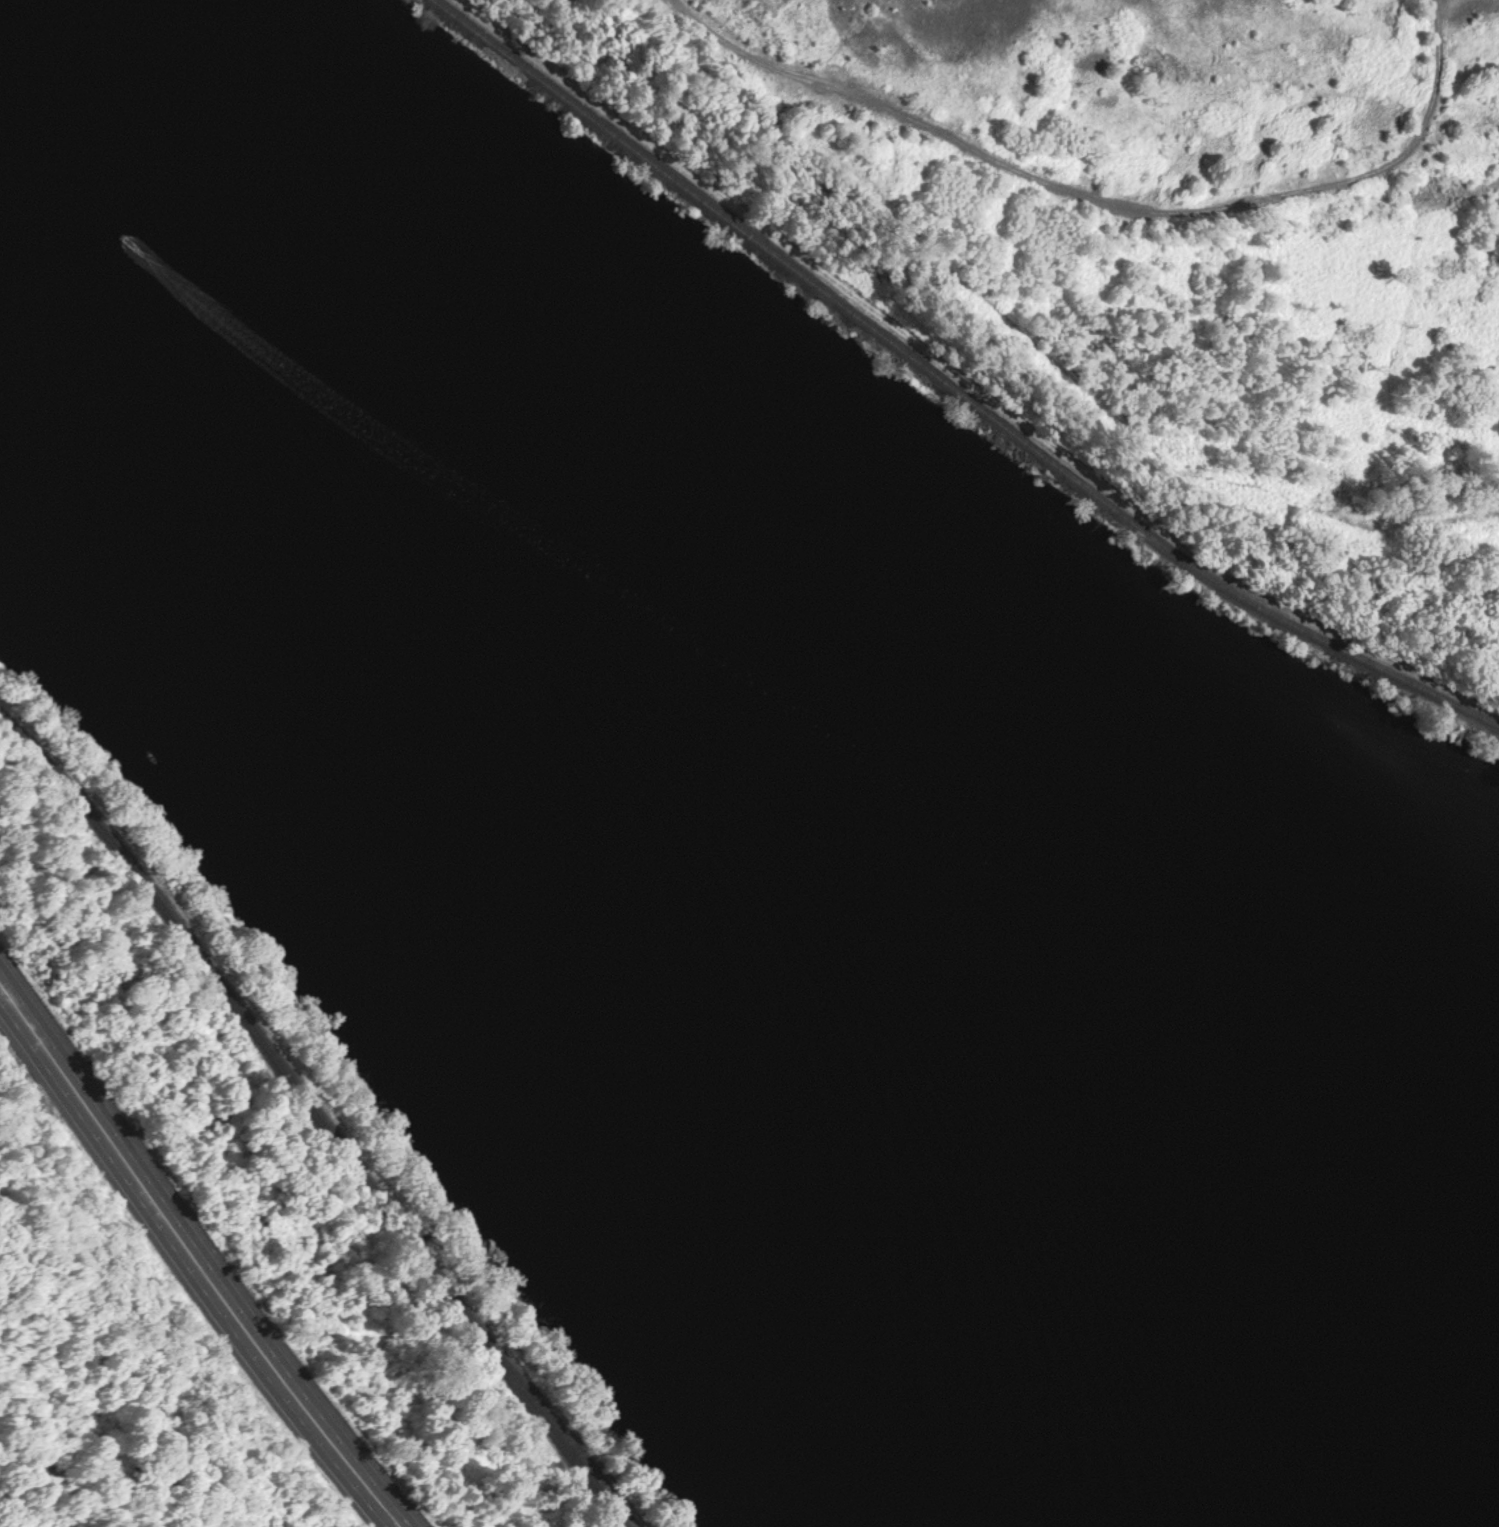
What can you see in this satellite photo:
road: (1107, 197)
road: (1071, 371)
railway: (951, 386)
river: (627, 811)
railway: (294, 1120)
railway: (335, 1134)
road: (203, 1244)
road: (187, 1269)

